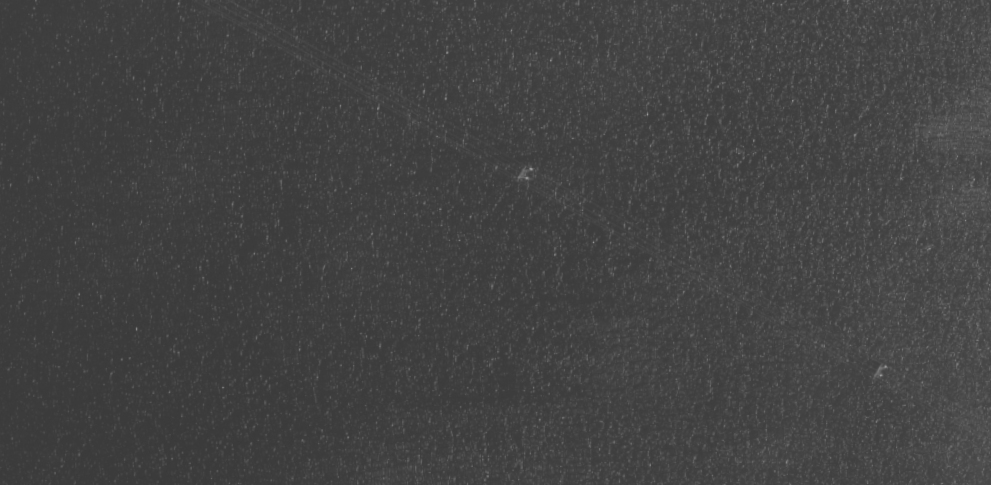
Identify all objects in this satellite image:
power tower: (526, 176)
power tower: (882, 374)

